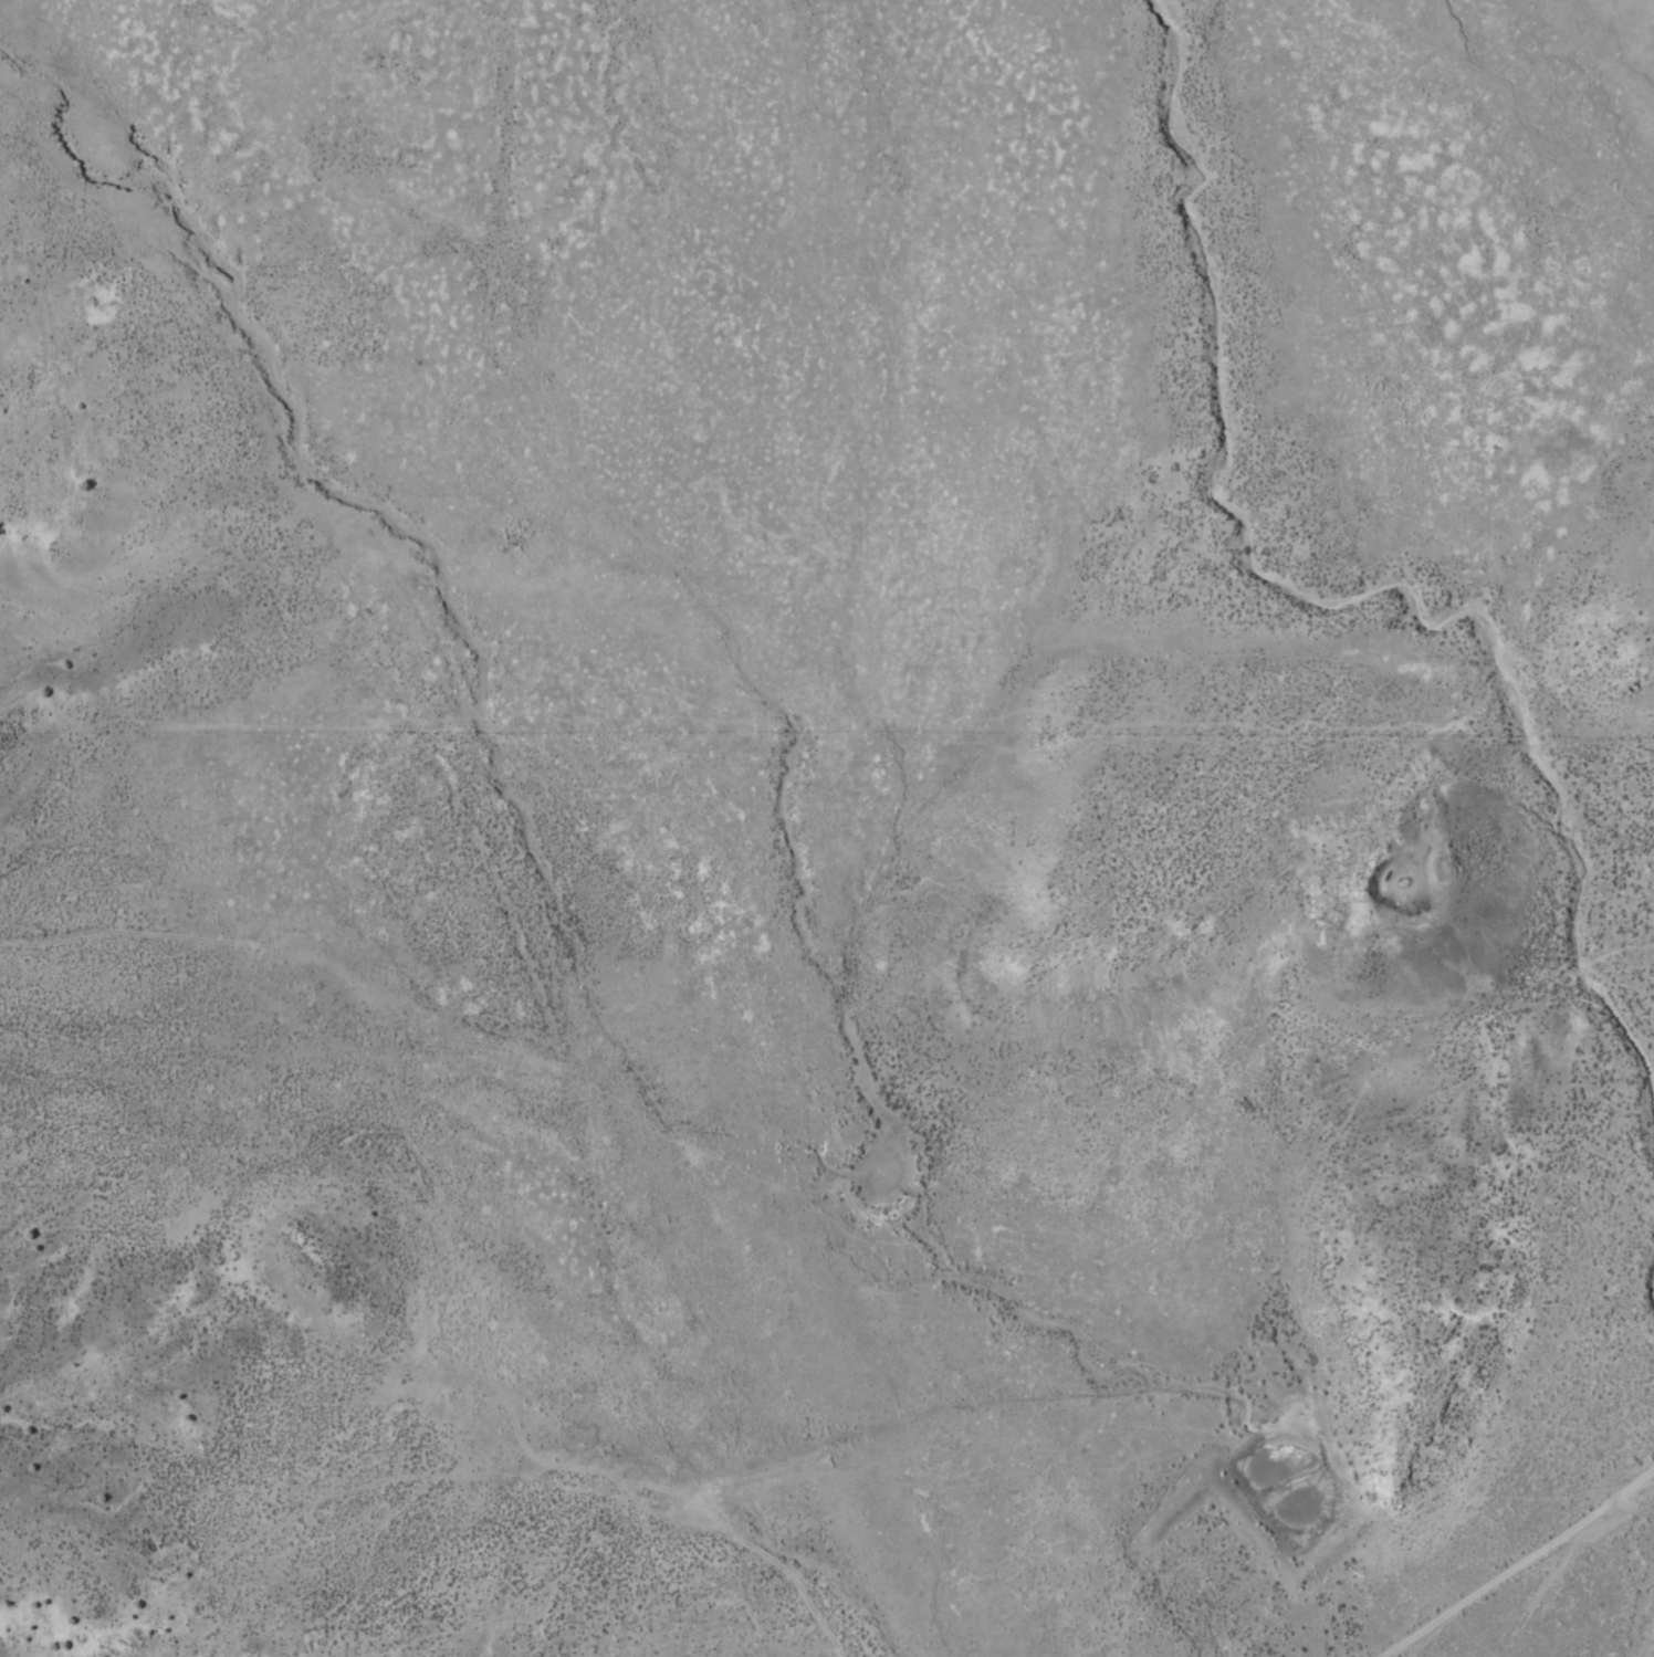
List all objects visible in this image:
road: (483, 879)
road: (1518, 1562)

